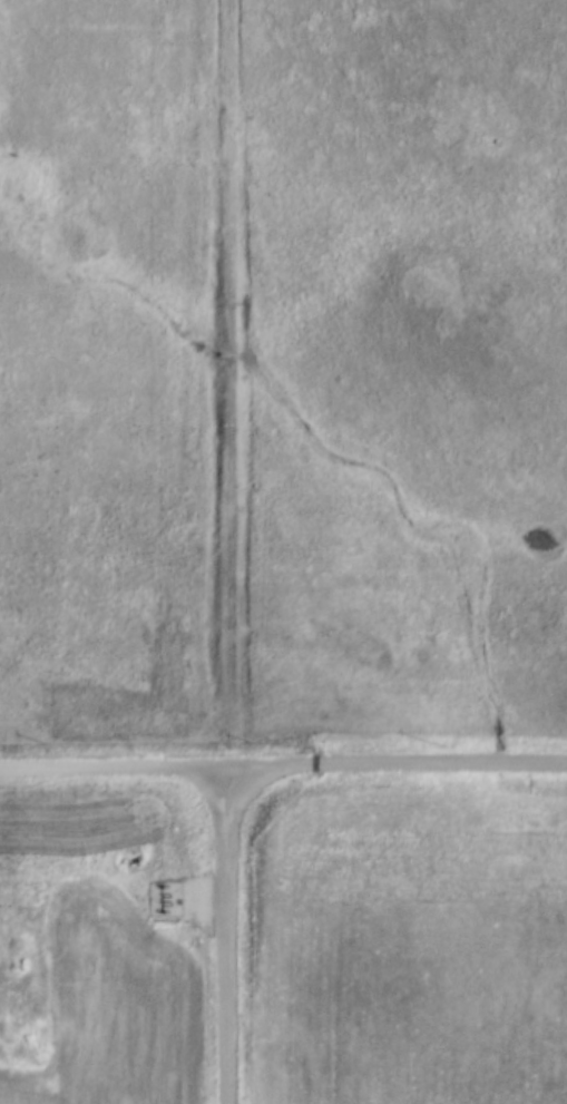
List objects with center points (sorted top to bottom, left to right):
road: (283, 758)
road: (222, 932)

